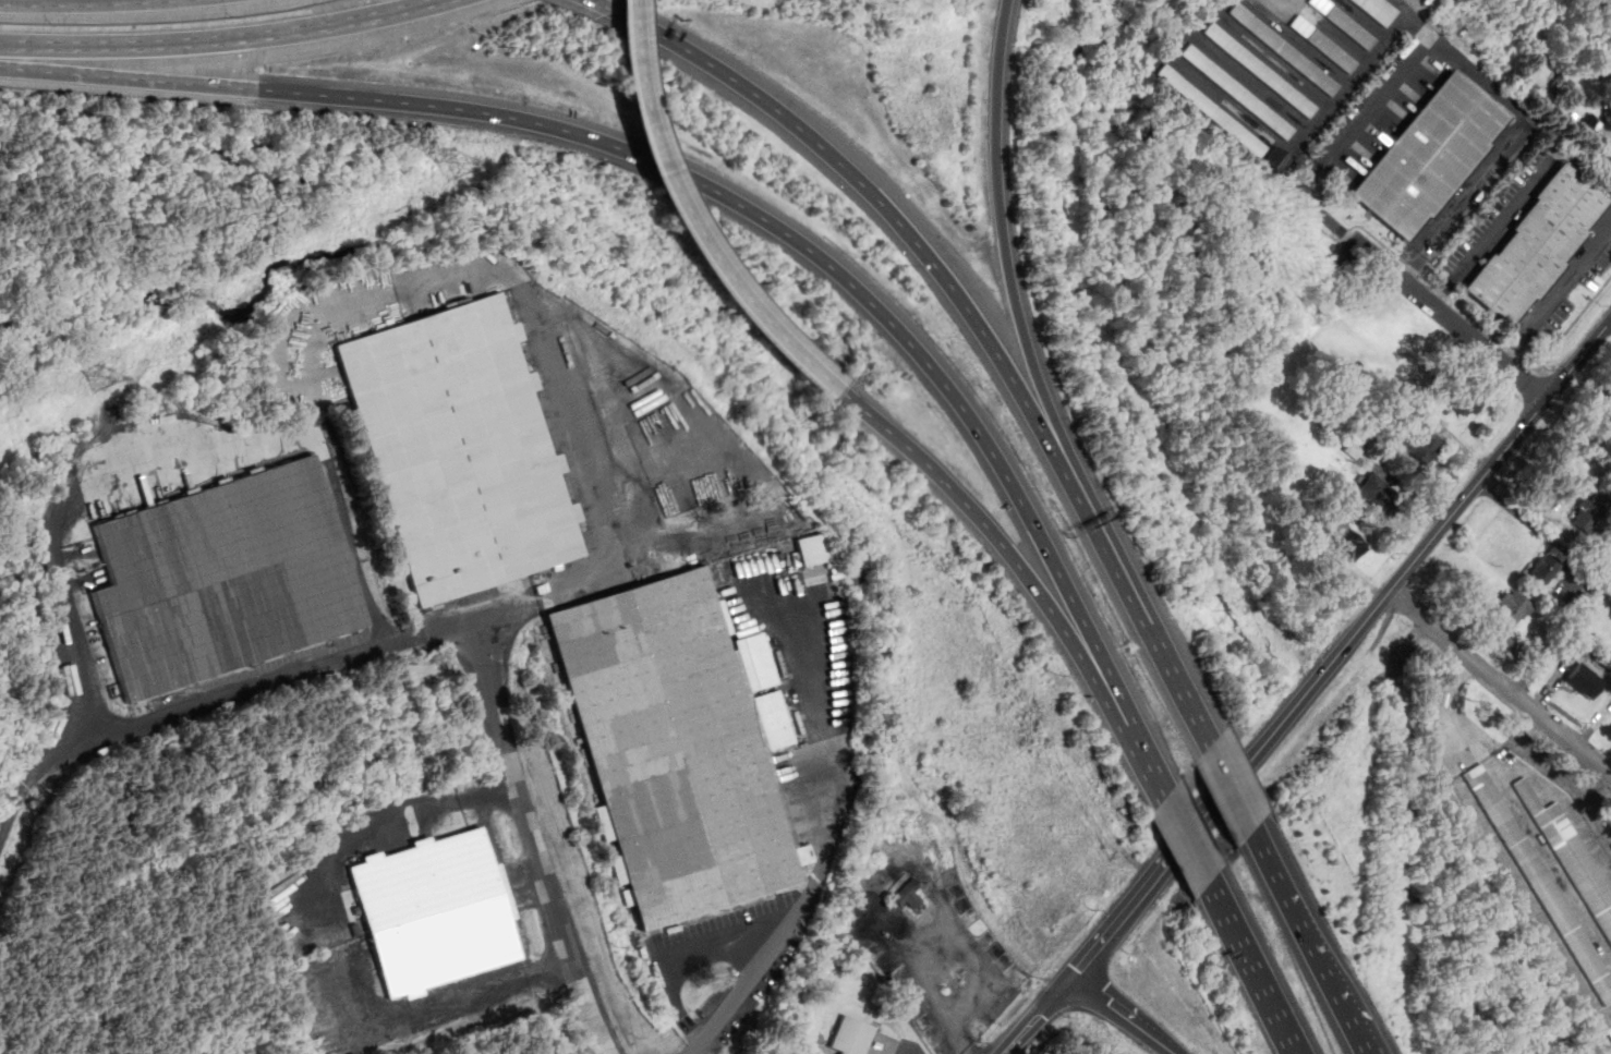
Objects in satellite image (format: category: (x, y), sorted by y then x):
road: (59, 0)
road: (597, 4)
building: (1320, 4)
building: (1379, 9)
building: (1301, 25)
building: (1350, 27)
road: (220, 38)
building: (1283, 48)
building: (1332, 50)
road: (1450, 51)
building: (1609, 64)
building: (1260, 69)
road: (129, 73)
road: (1352, 82)
building: (1563, 82)
building: (1237, 90)
building: (1212, 110)
building: (1610, 150)
building: (1429, 155)
building: (1274, 158)
power tower: (455, 166)
road: (1515, 196)
road: (881, 204)
road: (685, 220)
road: (1348, 234)
road: (801, 244)
building: (1537, 244)
road: (998, 245)
road: (1336, 250)
road: (1557, 295)
road: (1449, 299)
road: (1441, 310)
road: (538, 323)
power tower: (98, 379)
road: (1552, 380)
building: (1466, 400)
road: (287, 438)
building: (1419, 444)
building: (1353, 448)
building: (461, 451)
building: (1378, 490)
road: (1535, 510)
road: (1517, 514)
building: (1586, 514)
building: (1339, 535)
road: (995, 537)
building: (811, 548)
road: (1416, 559)
building: (1542, 566)
building: (225, 580)
road: (548, 597)
road: (1140, 613)
building: (1512, 613)
road: (476, 632)
building: (1584, 680)
road: (1499, 682)
road: (77, 688)
building: (674, 750)
road: (1143, 755)
road: (1512, 765)
building: (1474, 772)
road: (1230, 787)
road: (395, 809)
road: (1187, 839)
building: (1571, 853)
road: (1551, 860)
building: (1542, 883)
road: (1149, 884)
road: (1523, 884)
building: (908, 895)
street lamp: (1097, 910)
building: (435, 913)
road: (799, 914)
road: (1296, 916)
road: (682, 961)
road: (1253, 967)
traffic signals: (1077, 972)
building: (952, 988)
road: (483, 990)
road: (1116, 1003)
road: (1040, 1013)
road: (1355, 1028)
building: (852, 1037)
road: (1167, 1044)

